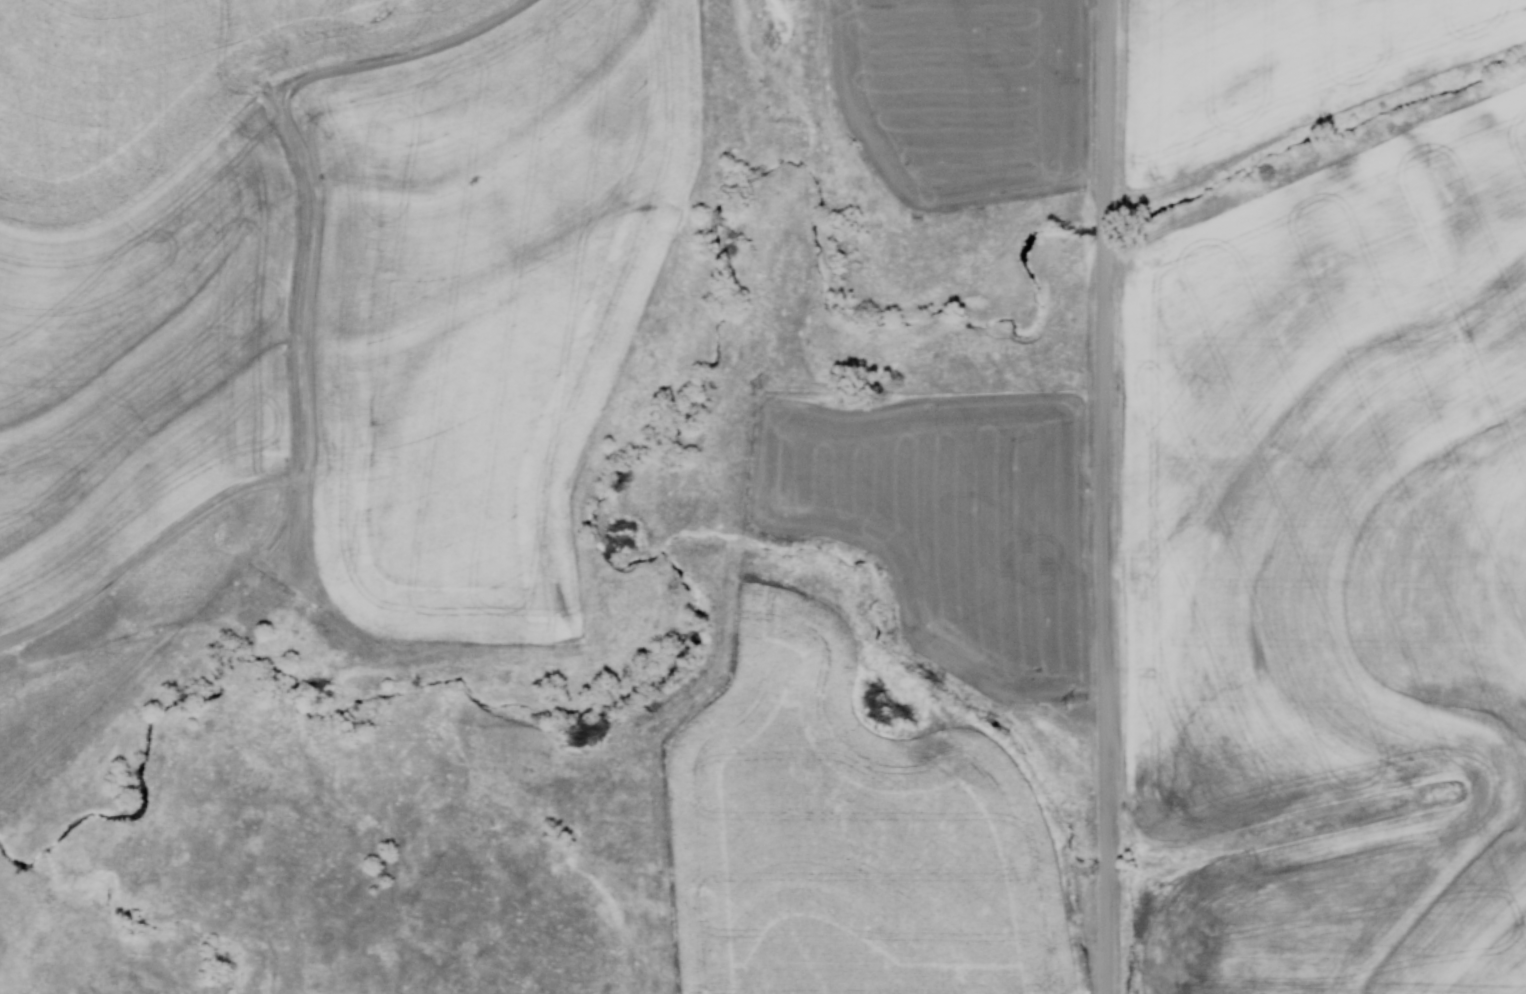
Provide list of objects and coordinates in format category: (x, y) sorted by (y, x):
power tower: (382, 13)
power tower: (756, 389)
road: (1108, 497)
power tower: (1071, 705)

